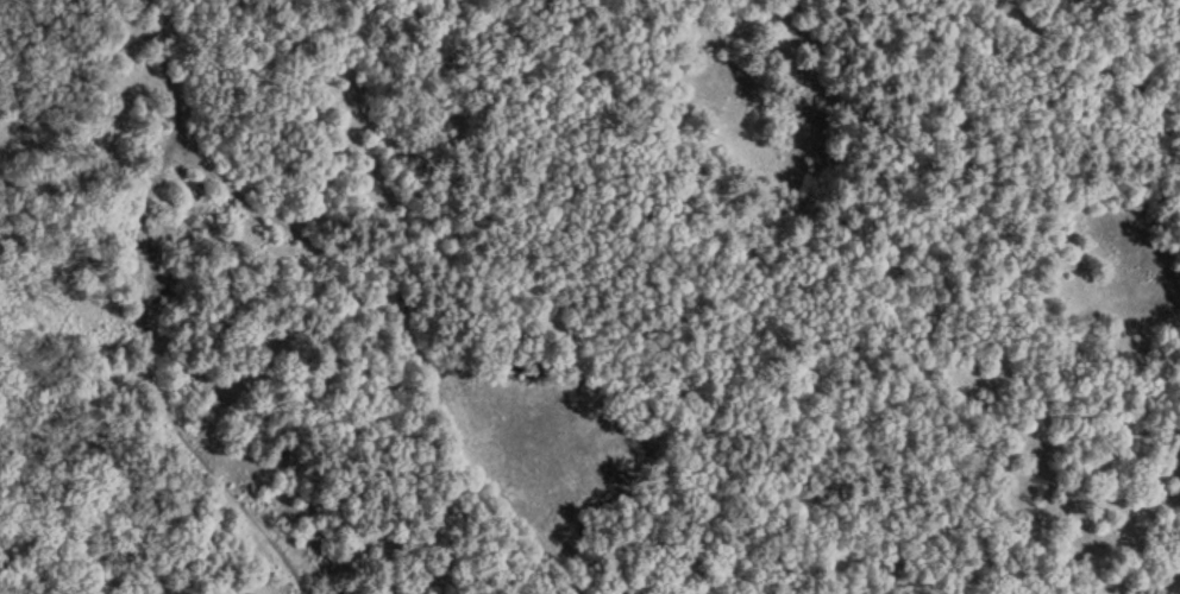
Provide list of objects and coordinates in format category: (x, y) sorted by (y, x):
road: (1094, 48)

